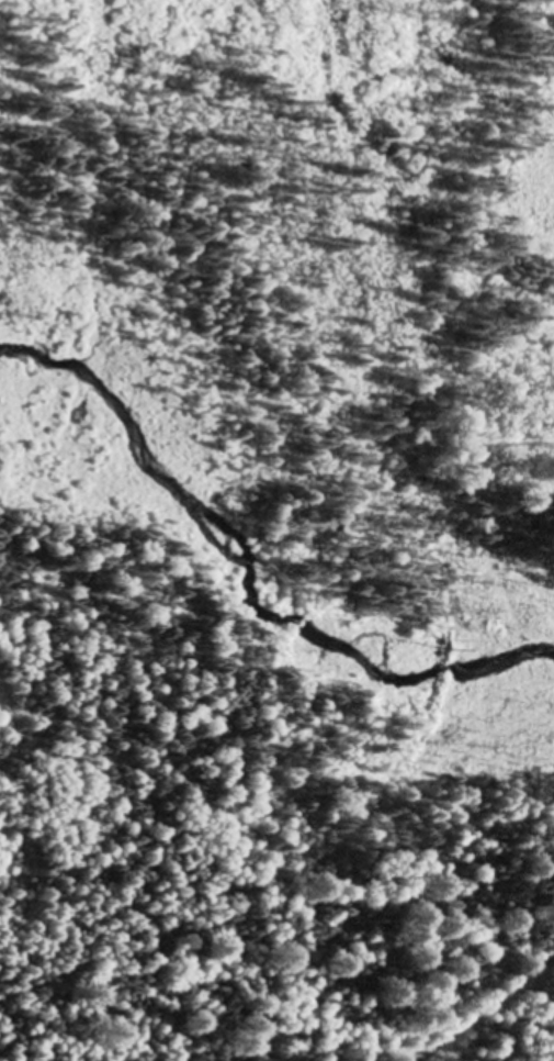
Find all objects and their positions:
road: (475, 1002)

